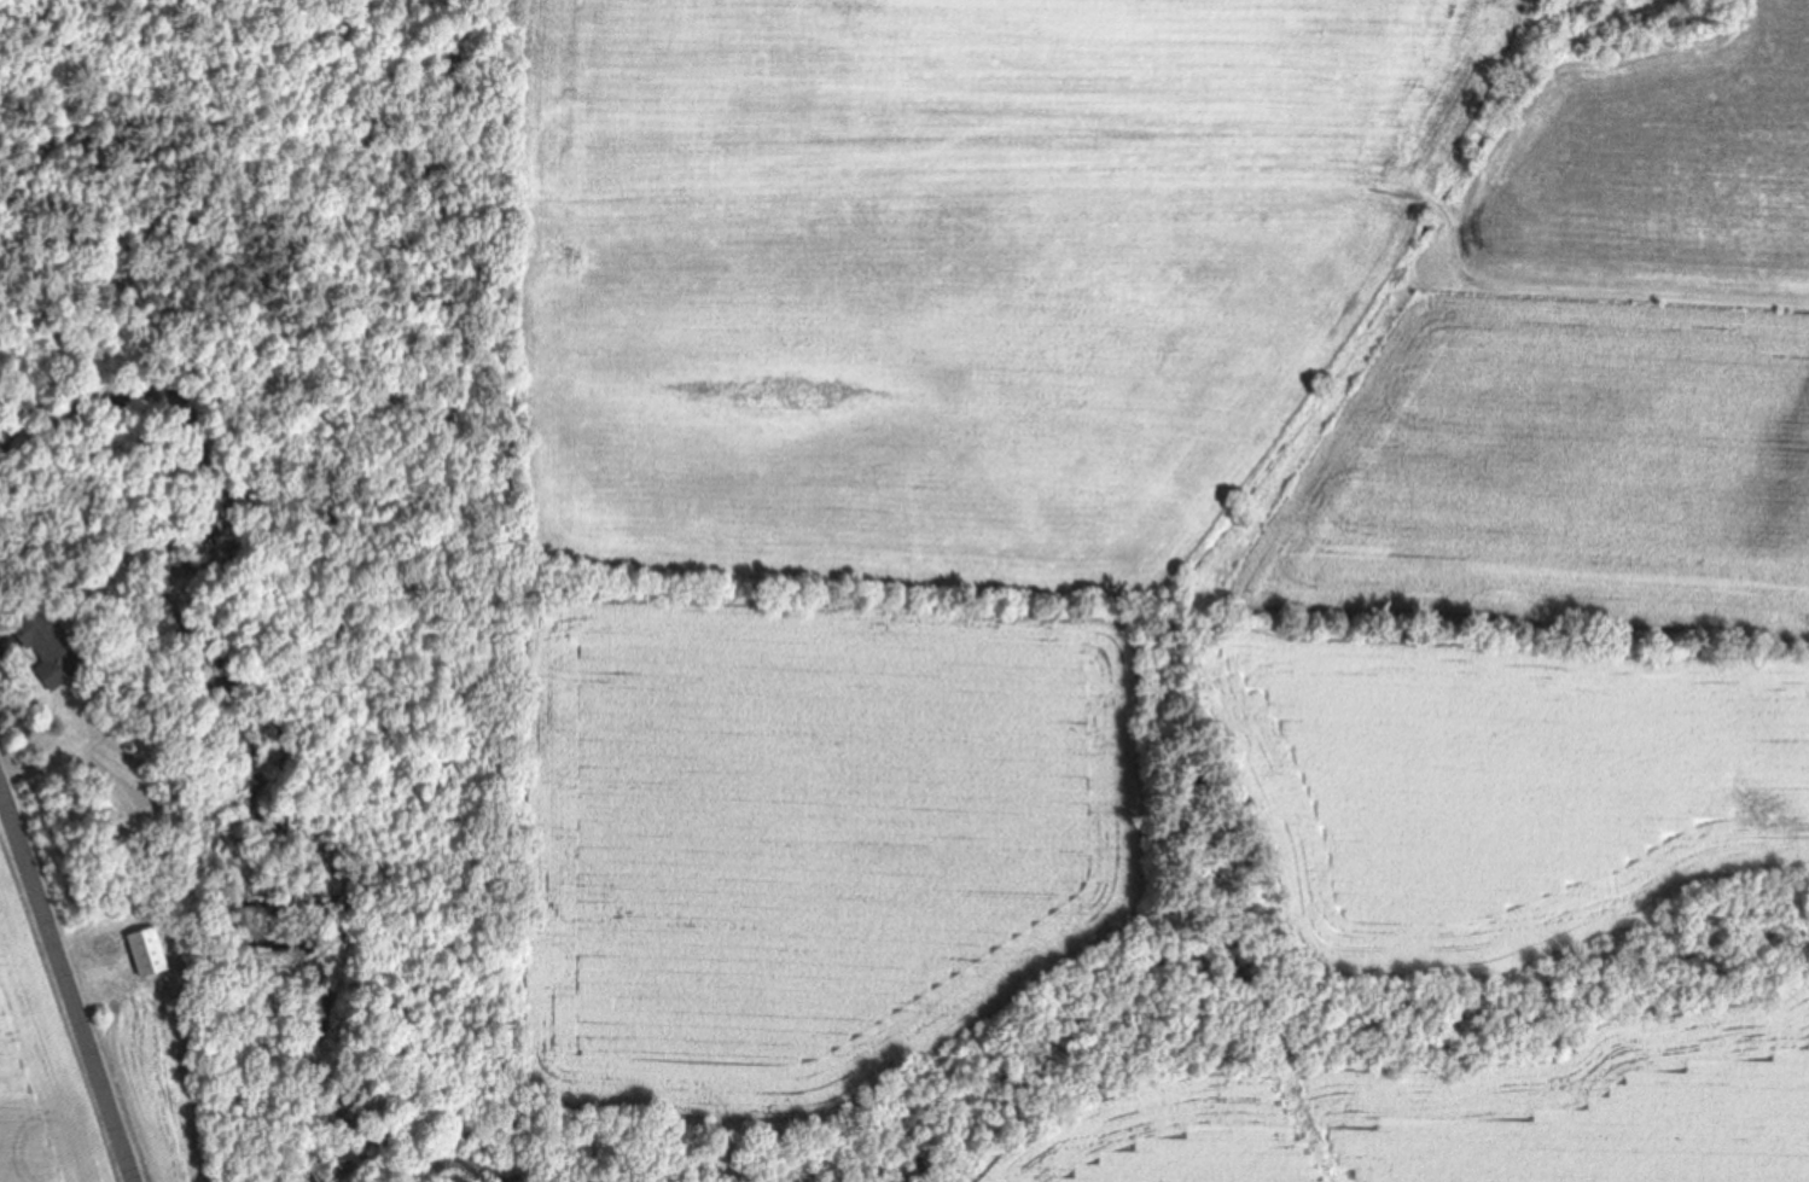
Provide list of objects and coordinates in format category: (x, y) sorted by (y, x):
building: (34, 648)
building: (138, 951)
road: (66, 986)

